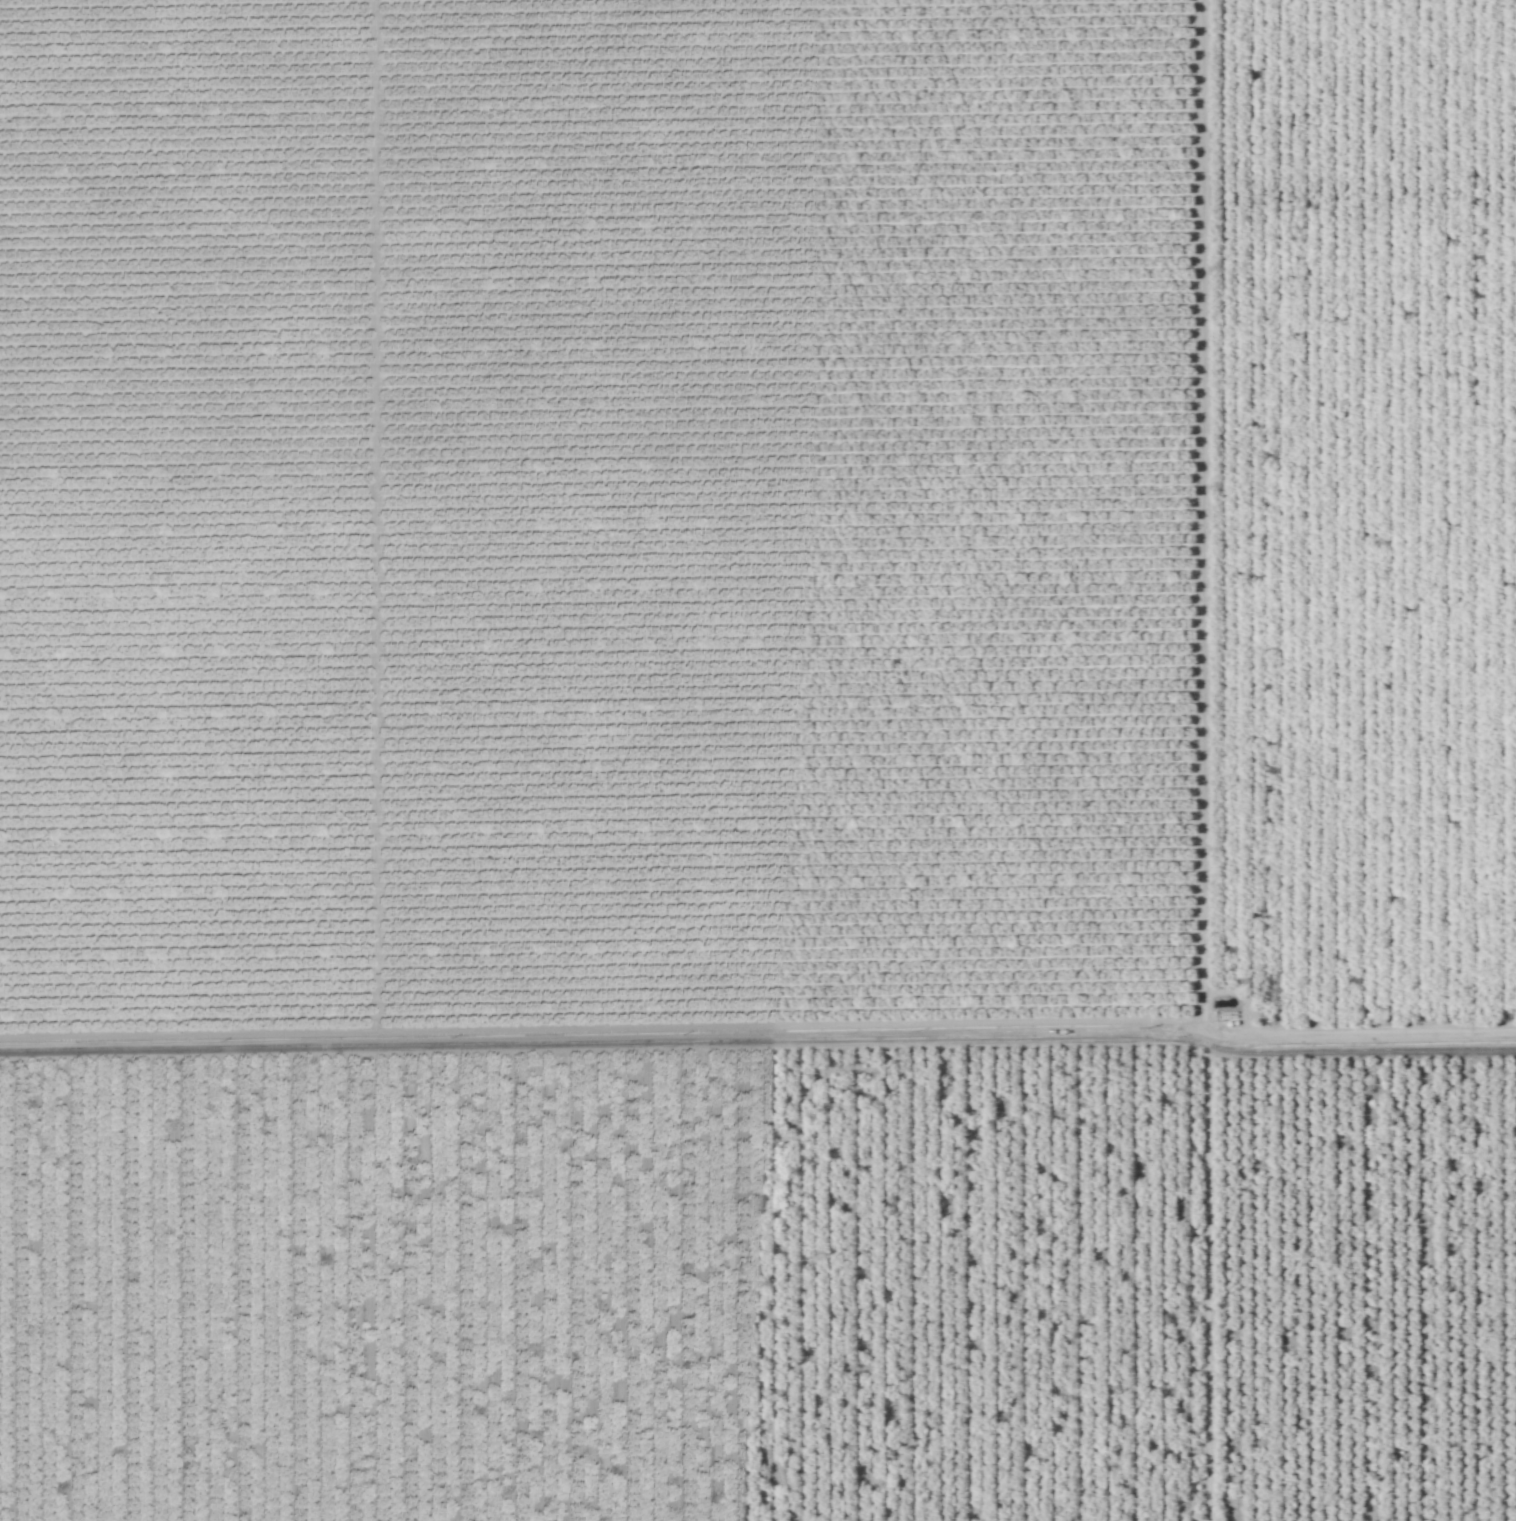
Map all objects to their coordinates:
road: (758, 1056)

